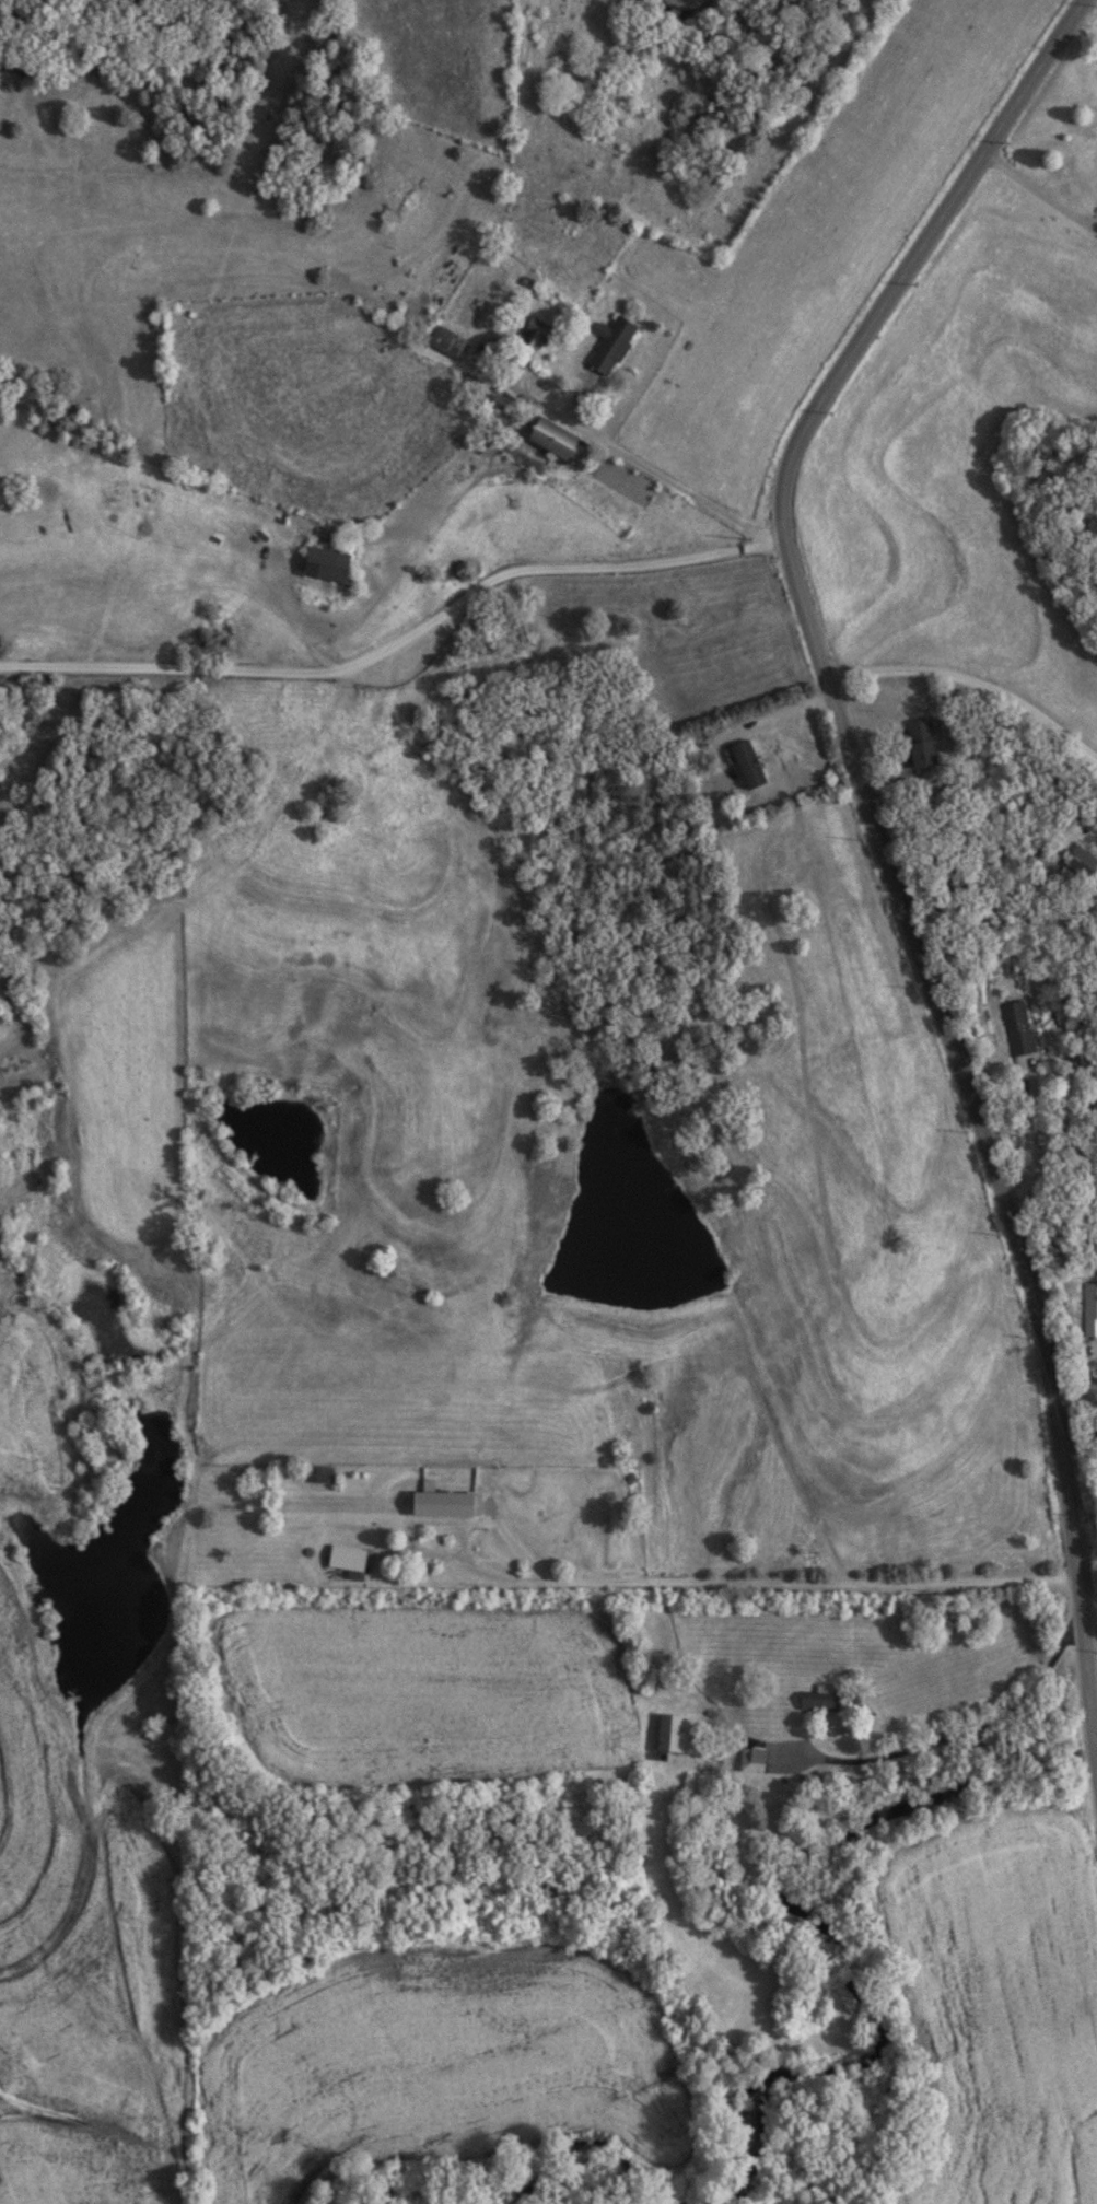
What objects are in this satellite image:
road: (1039, 193)
building: (535, 339)
building: (448, 345)
building: (612, 347)
building: (494, 355)
building: (558, 443)
road: (637, 460)
building: (327, 567)
road: (401, 639)
road: (972, 683)
building: (923, 745)
building: (749, 766)
road: (883, 854)
building: (1082, 863)
building: (1014, 1028)
building: (1088, 1309)
building: (320, 1476)
building: (435, 1505)
building: (348, 1560)
road: (686, 1584)
building: (816, 1700)
building: (667, 1735)
road: (931, 1741)
building: (747, 1761)
river: (1081, 1766)
river: (840, 1947)
river: (568, 2185)
river: (376, 2197)

